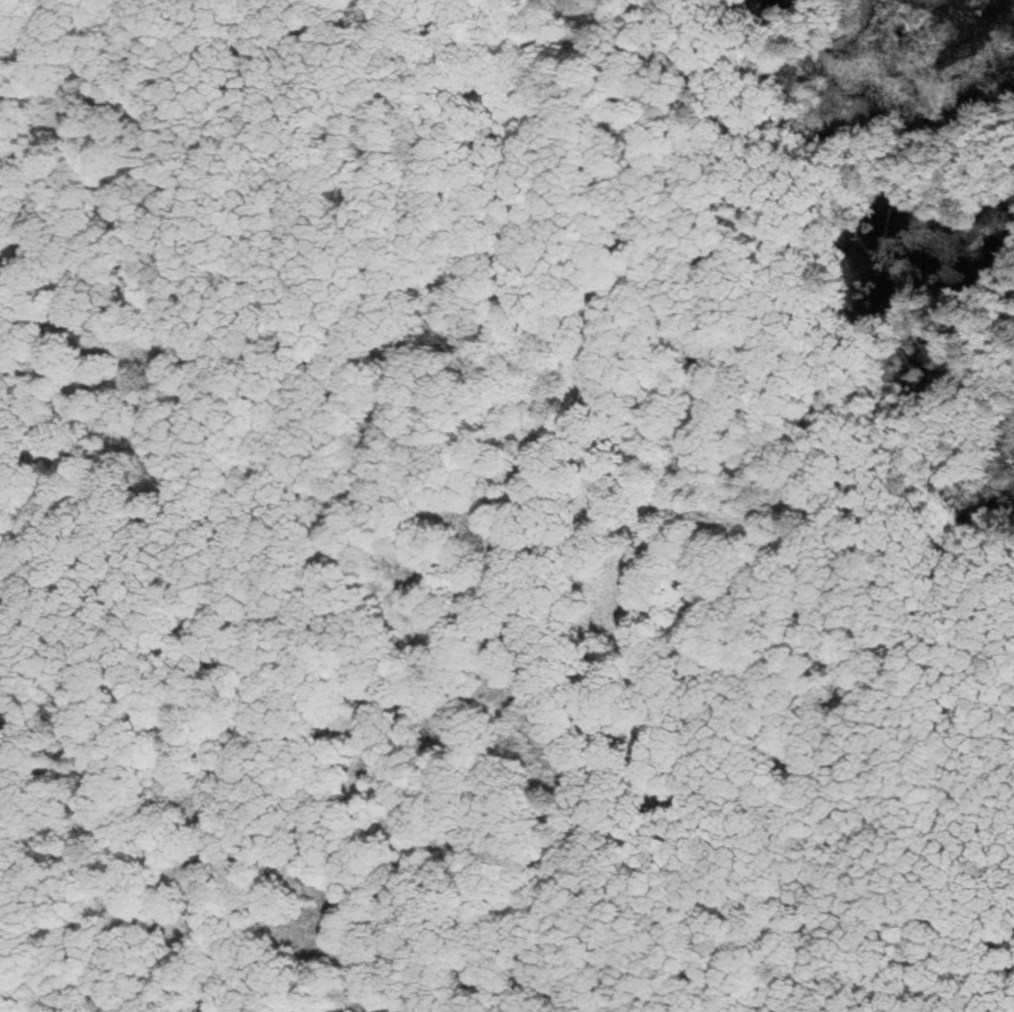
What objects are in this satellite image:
park: (507, 506)

